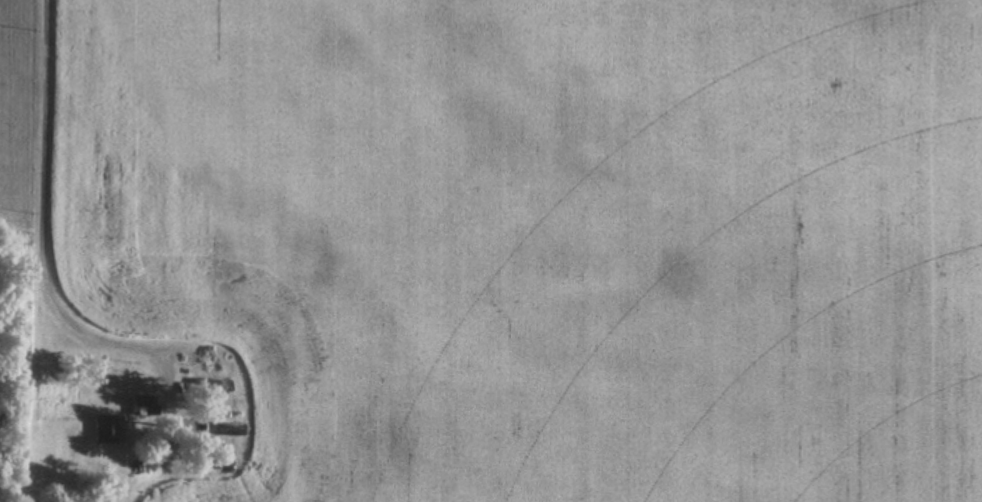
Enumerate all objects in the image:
road: (39, 234)
building: (146, 406)
building: (110, 428)

